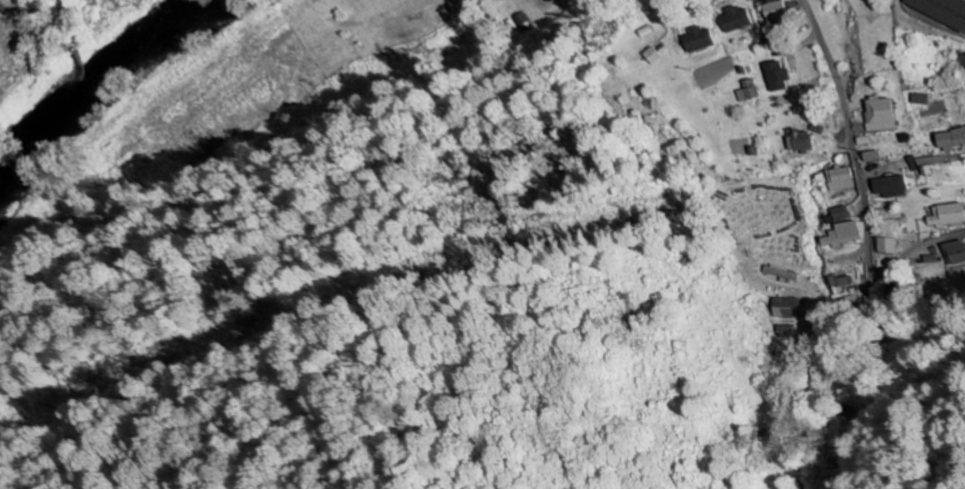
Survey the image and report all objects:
building: (537, 1)
building: (940, 11)
building: (773, 12)
building: (733, 19)
building: (695, 39)
building: (646, 56)
building: (961, 64)
building: (774, 76)
river: (90, 79)
building: (744, 91)
building: (916, 99)
building: (877, 114)
building: (948, 139)
building: (796, 141)
road: (848, 142)
building: (868, 156)
building: (835, 178)
building: (885, 187)
building: (836, 214)
building: (941, 215)
building: (837, 235)
building: (882, 246)
road: (908, 252)
building: (950, 252)
building: (779, 307)

